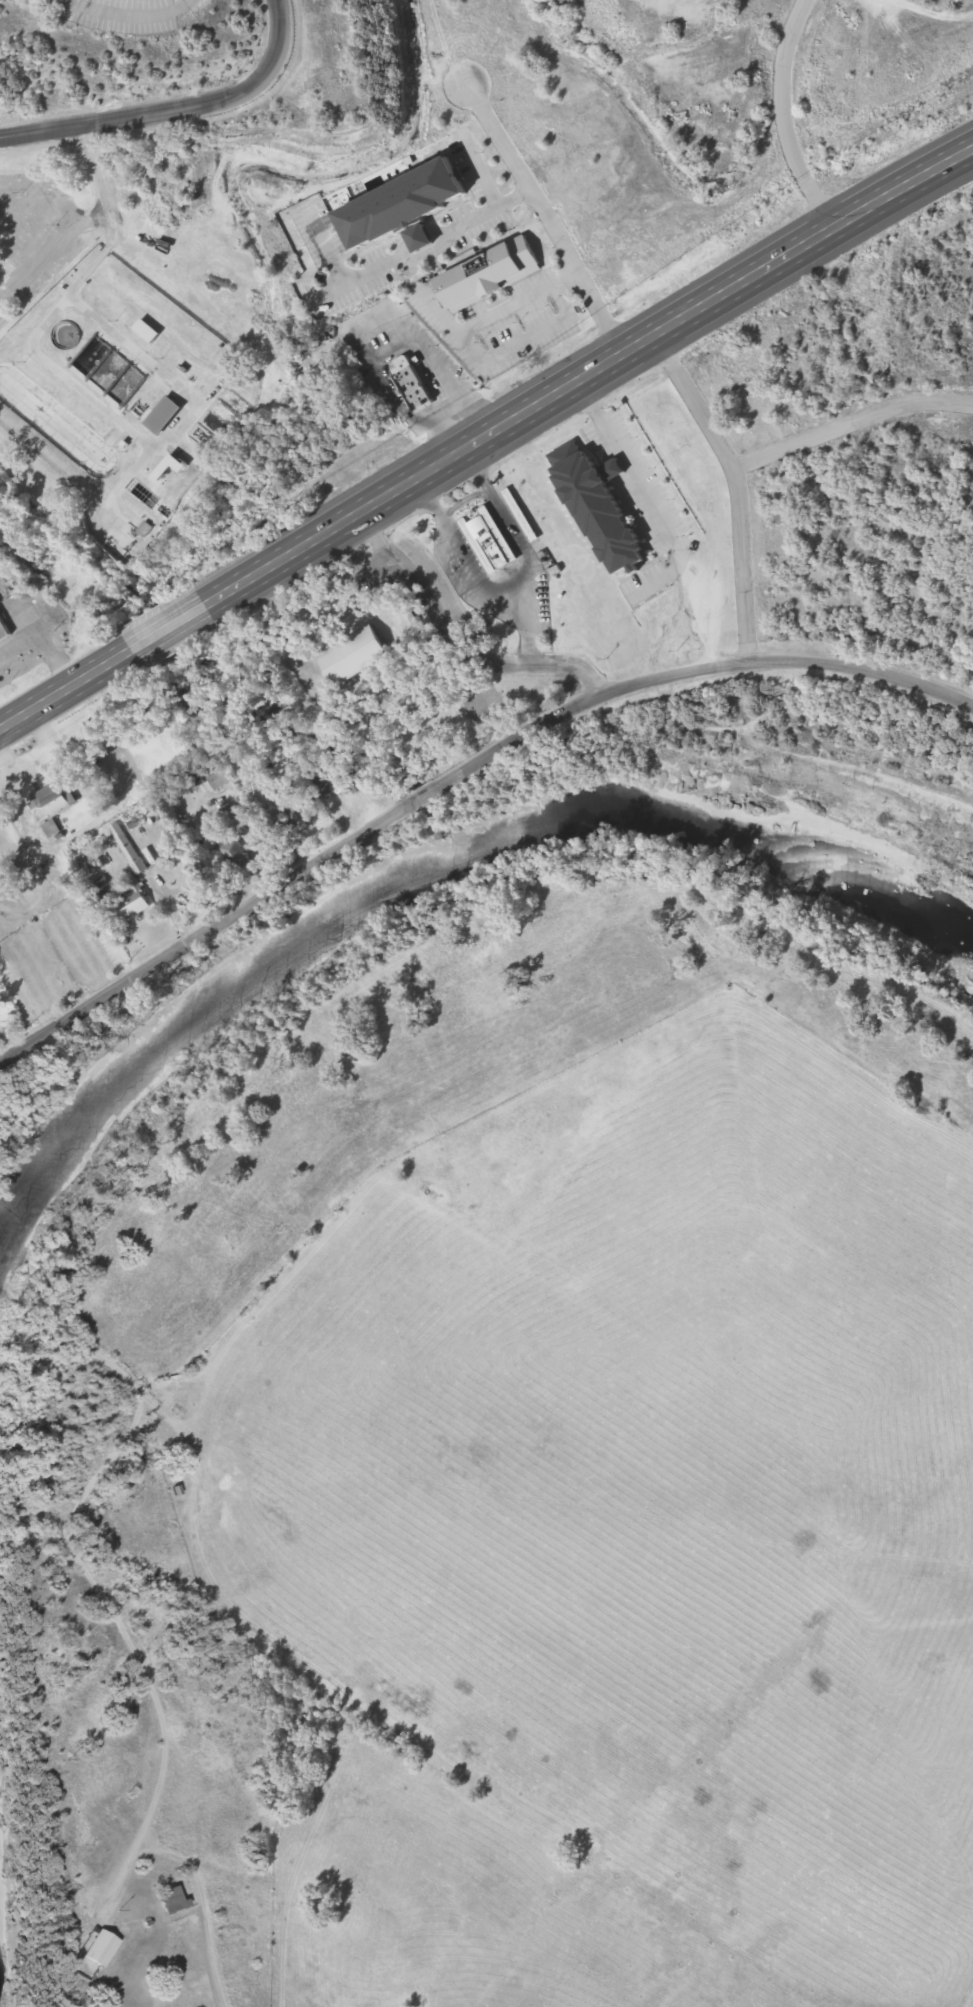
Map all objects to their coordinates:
road: (129, 13)
road: (175, 112)
road: (782, 119)
road: (44, 176)
building: (395, 208)
road: (77, 211)
road: (546, 218)
road: (403, 259)
building: (481, 275)
road: (745, 279)
road: (491, 317)
road: (352, 335)
road: (523, 340)
building: (404, 385)
building: (160, 416)
road: (850, 419)
road: (738, 489)
road: (464, 502)
building: (589, 506)
building: (484, 540)
road: (258, 567)
road: (511, 581)
road: (527, 619)
building: (2, 633)
road: (41, 638)
road: (451, 639)
building: (347, 656)
park: (383, 661)
road: (865, 671)
park: (480, 704)
building: (49, 801)
road: (361, 827)
building: (230, 852)
building: (127, 907)
road: (195, 1881)
building: (168, 1901)
building: (95, 1949)

